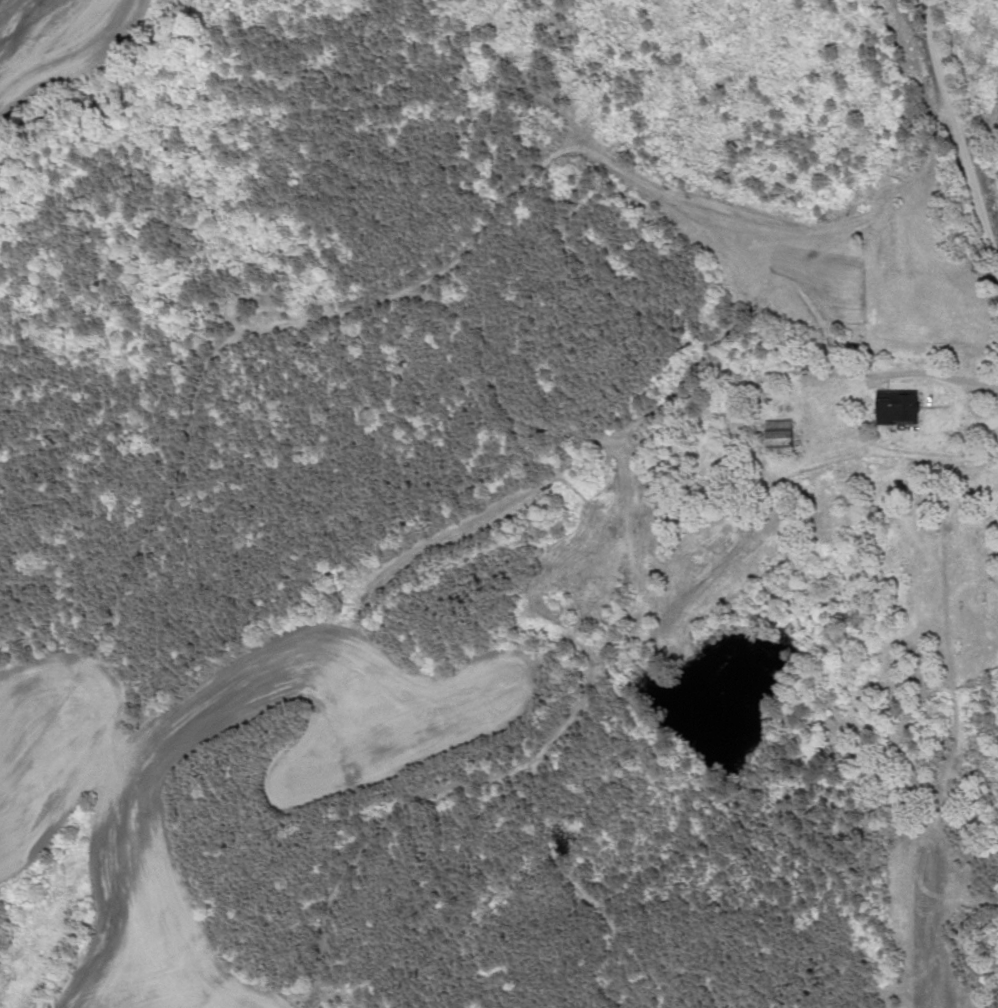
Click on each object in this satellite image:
road: (961, 129)
building: (896, 409)
building: (775, 439)

